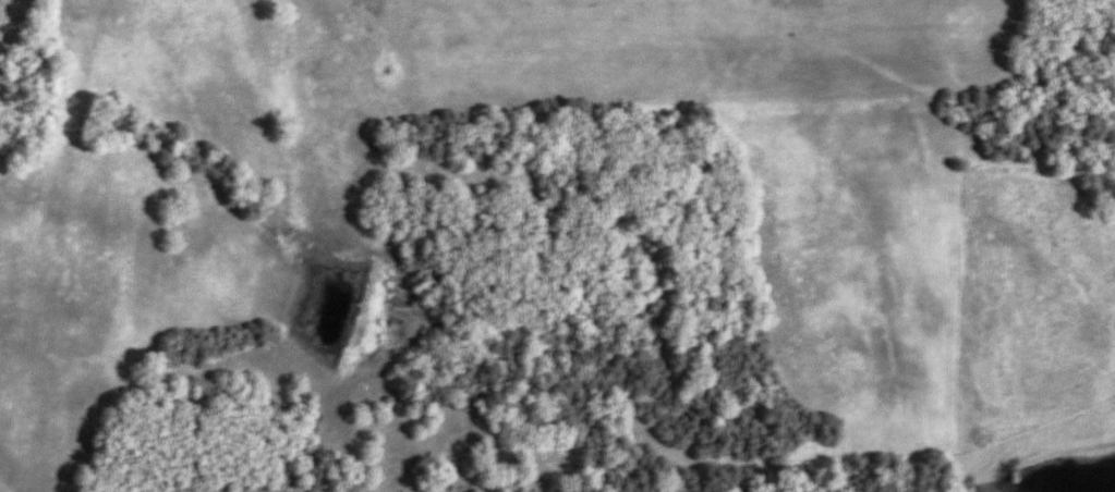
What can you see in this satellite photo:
road: (10, 51)

